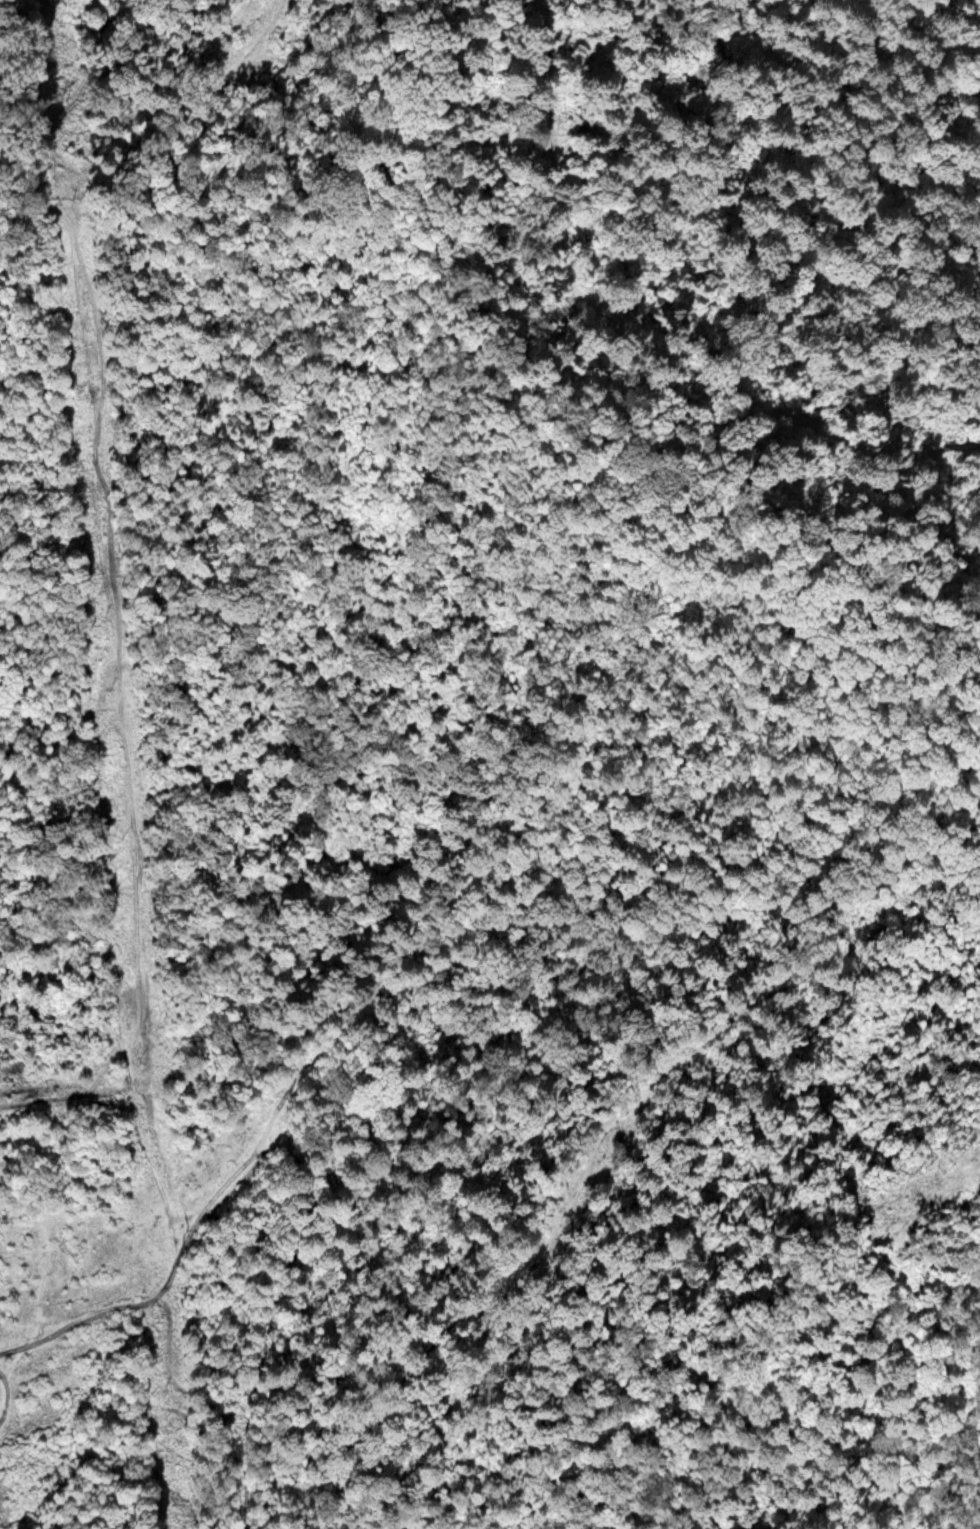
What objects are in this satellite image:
road: (150, 976)
road: (146, 1093)
road: (174, 1260)

